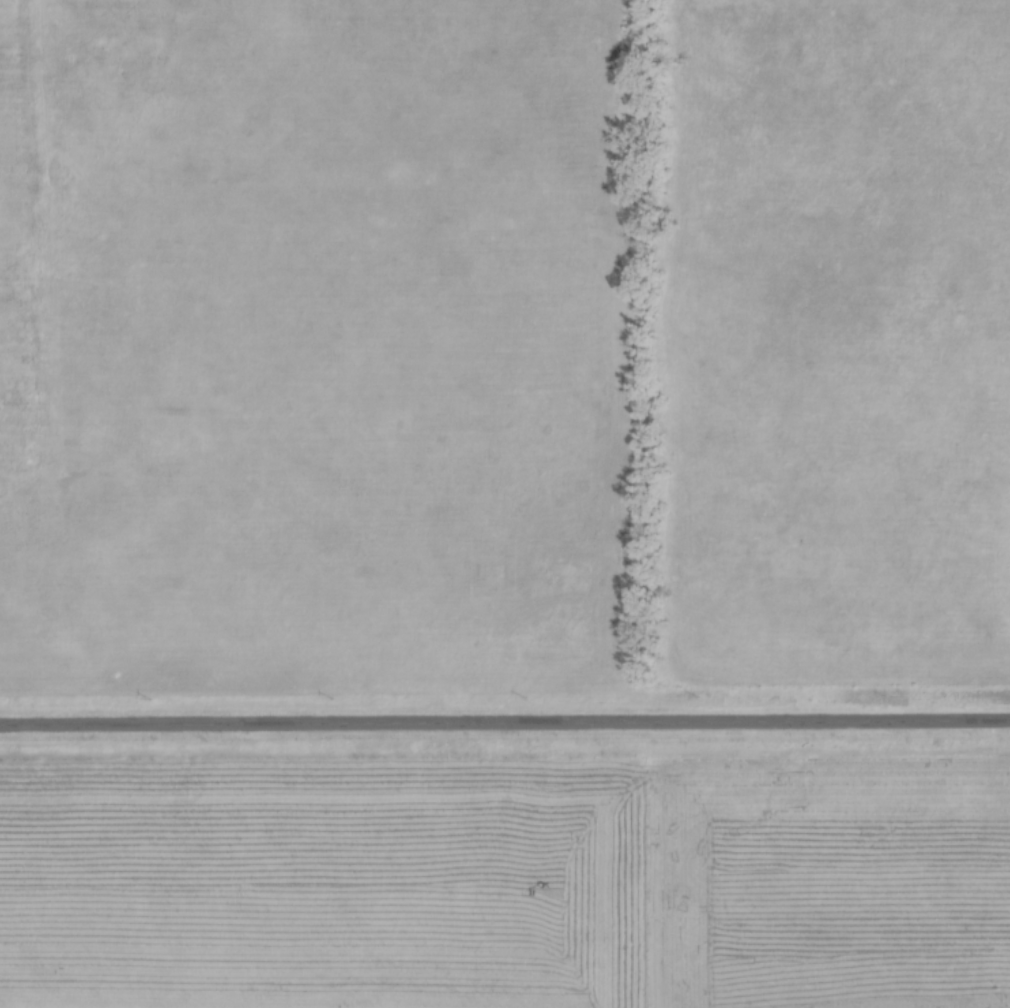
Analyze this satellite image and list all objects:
road: (505, 730)

